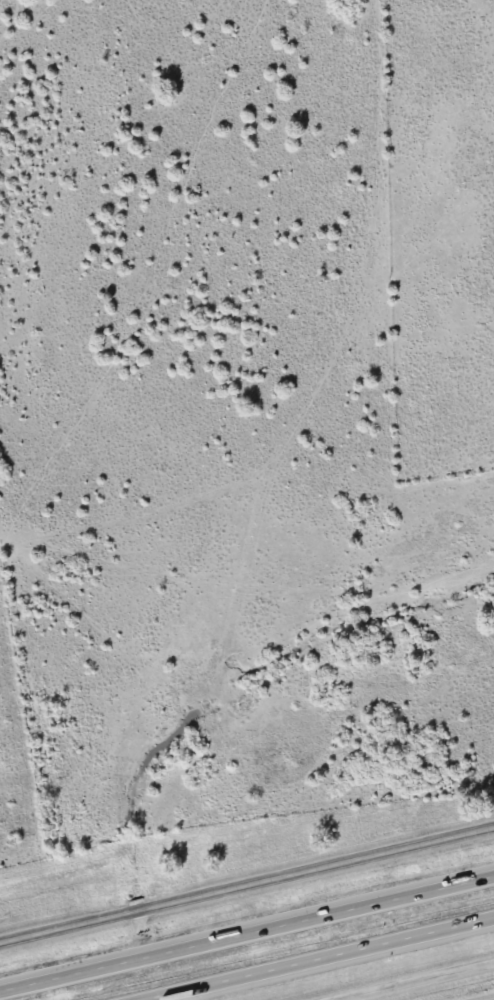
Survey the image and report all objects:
road: (247, 885)
road: (247, 932)
road: (319, 959)
road: (414, 981)

